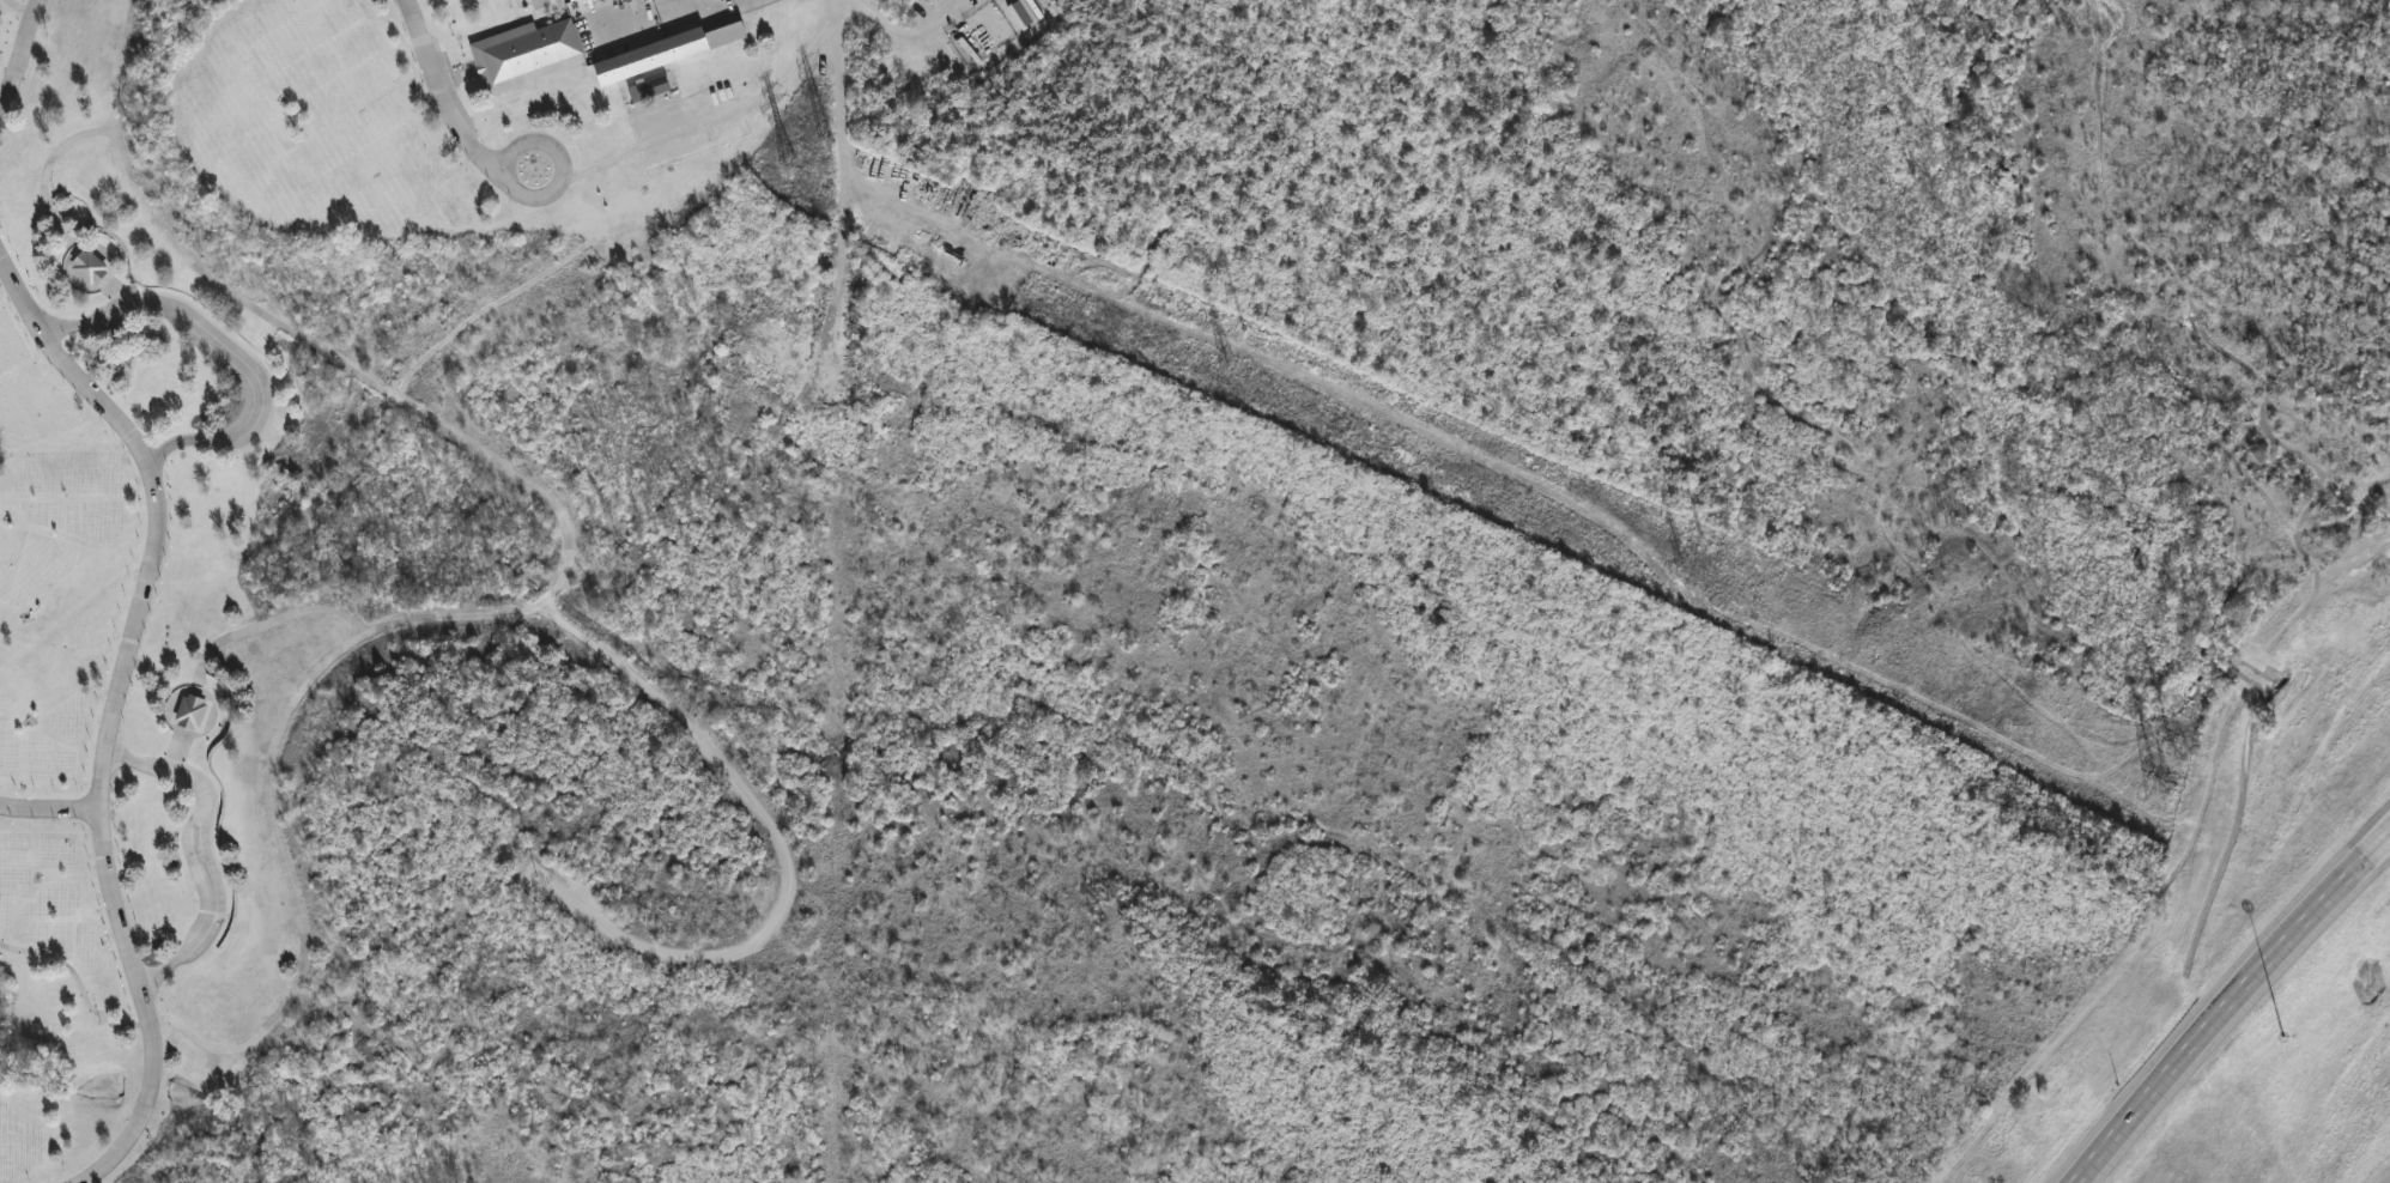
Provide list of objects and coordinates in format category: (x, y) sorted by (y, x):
building: (566, 0)
road: (541, 4)
road: (690, 8)
road: (722, 8)
road: (638, 16)
road: (22, 53)
building: (524, 53)
building: (660, 53)
road: (450, 92)
road: (717, 110)
road: (54, 153)
power tower: (797, 164)
road: (552, 192)
park: (277, 214)
building: (92, 267)
road: (231, 353)
power tower: (1236, 359)
power tower: (1696, 569)
park: (1134, 571)
road: (565, 578)
road: (138, 614)
park: (1248, 617)
road: (277, 619)
building: (194, 710)
power tower: (2171, 793)
road: (49, 814)
road: (200, 853)
road: (785, 853)
road: (77, 978)
road: (2224, 1001)
street lamp: (2283, 1035)
road: (141, 1115)

